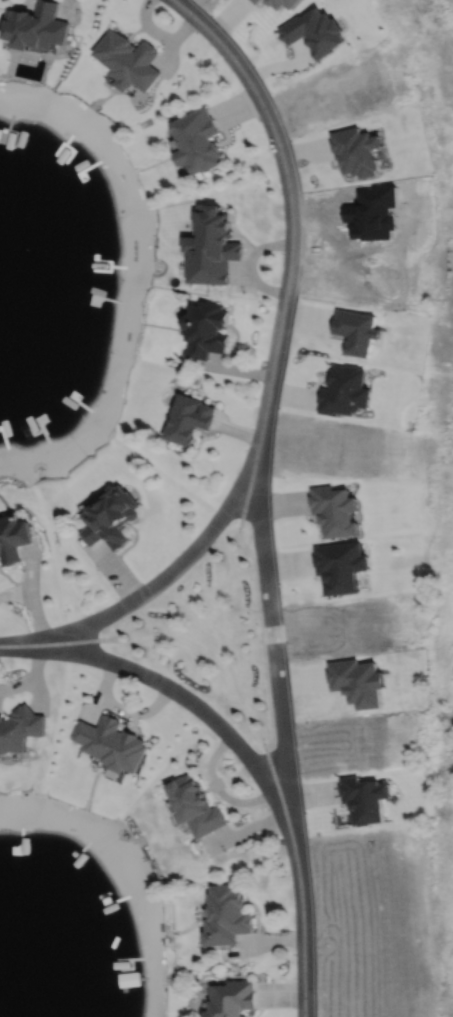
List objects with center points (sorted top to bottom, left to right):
building: (255, 1)
building: (280, 3)
building: (35, 26)
building: (313, 31)
building: (129, 60)
building: (196, 141)
building: (211, 247)
building: (206, 330)
building: (344, 392)
road: (267, 409)
building: (188, 420)
building: (337, 508)
building: (110, 515)
building: (13, 536)
building: (342, 564)
road: (163, 578)
building: (359, 680)
road: (201, 709)
building: (20, 728)
building: (112, 742)
building: (367, 798)
building: (197, 806)
building: (228, 915)
road: (306, 936)
building: (233, 999)

